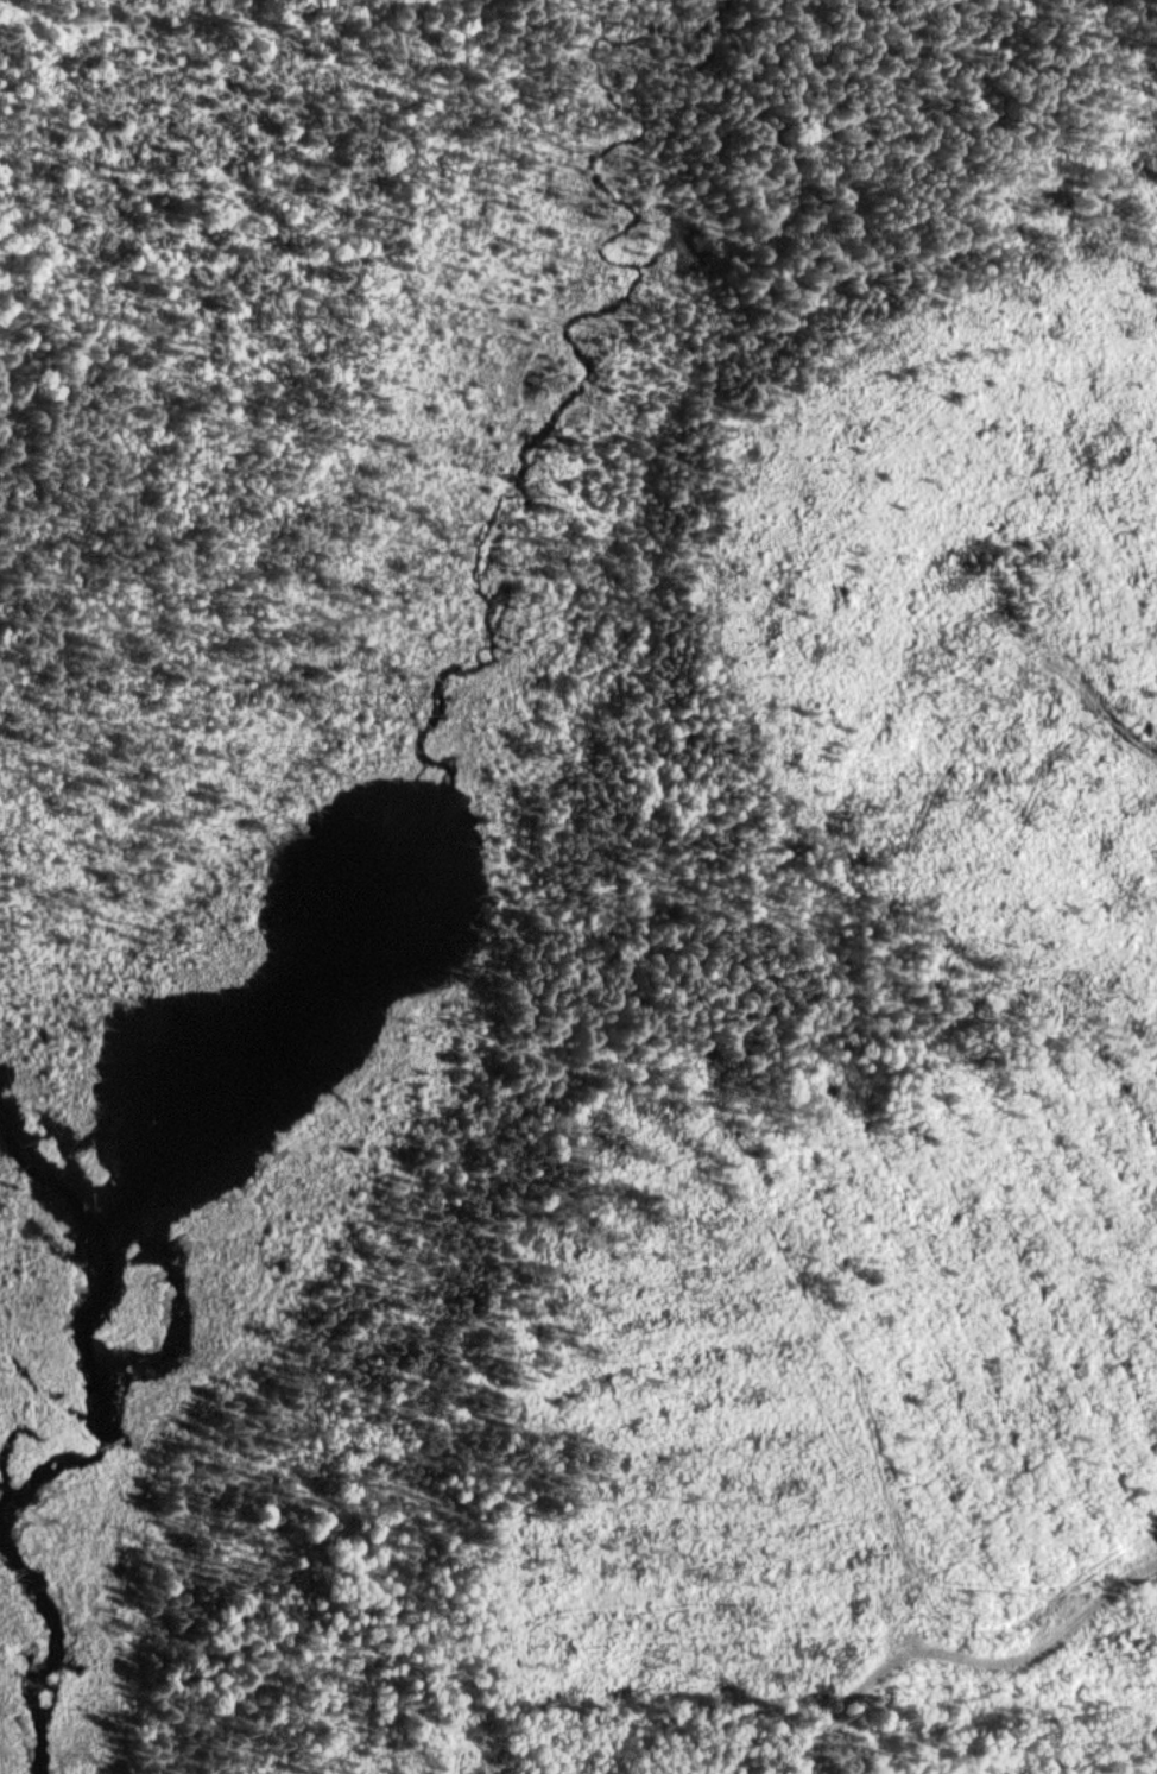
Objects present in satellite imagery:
road: (951, 1631)

